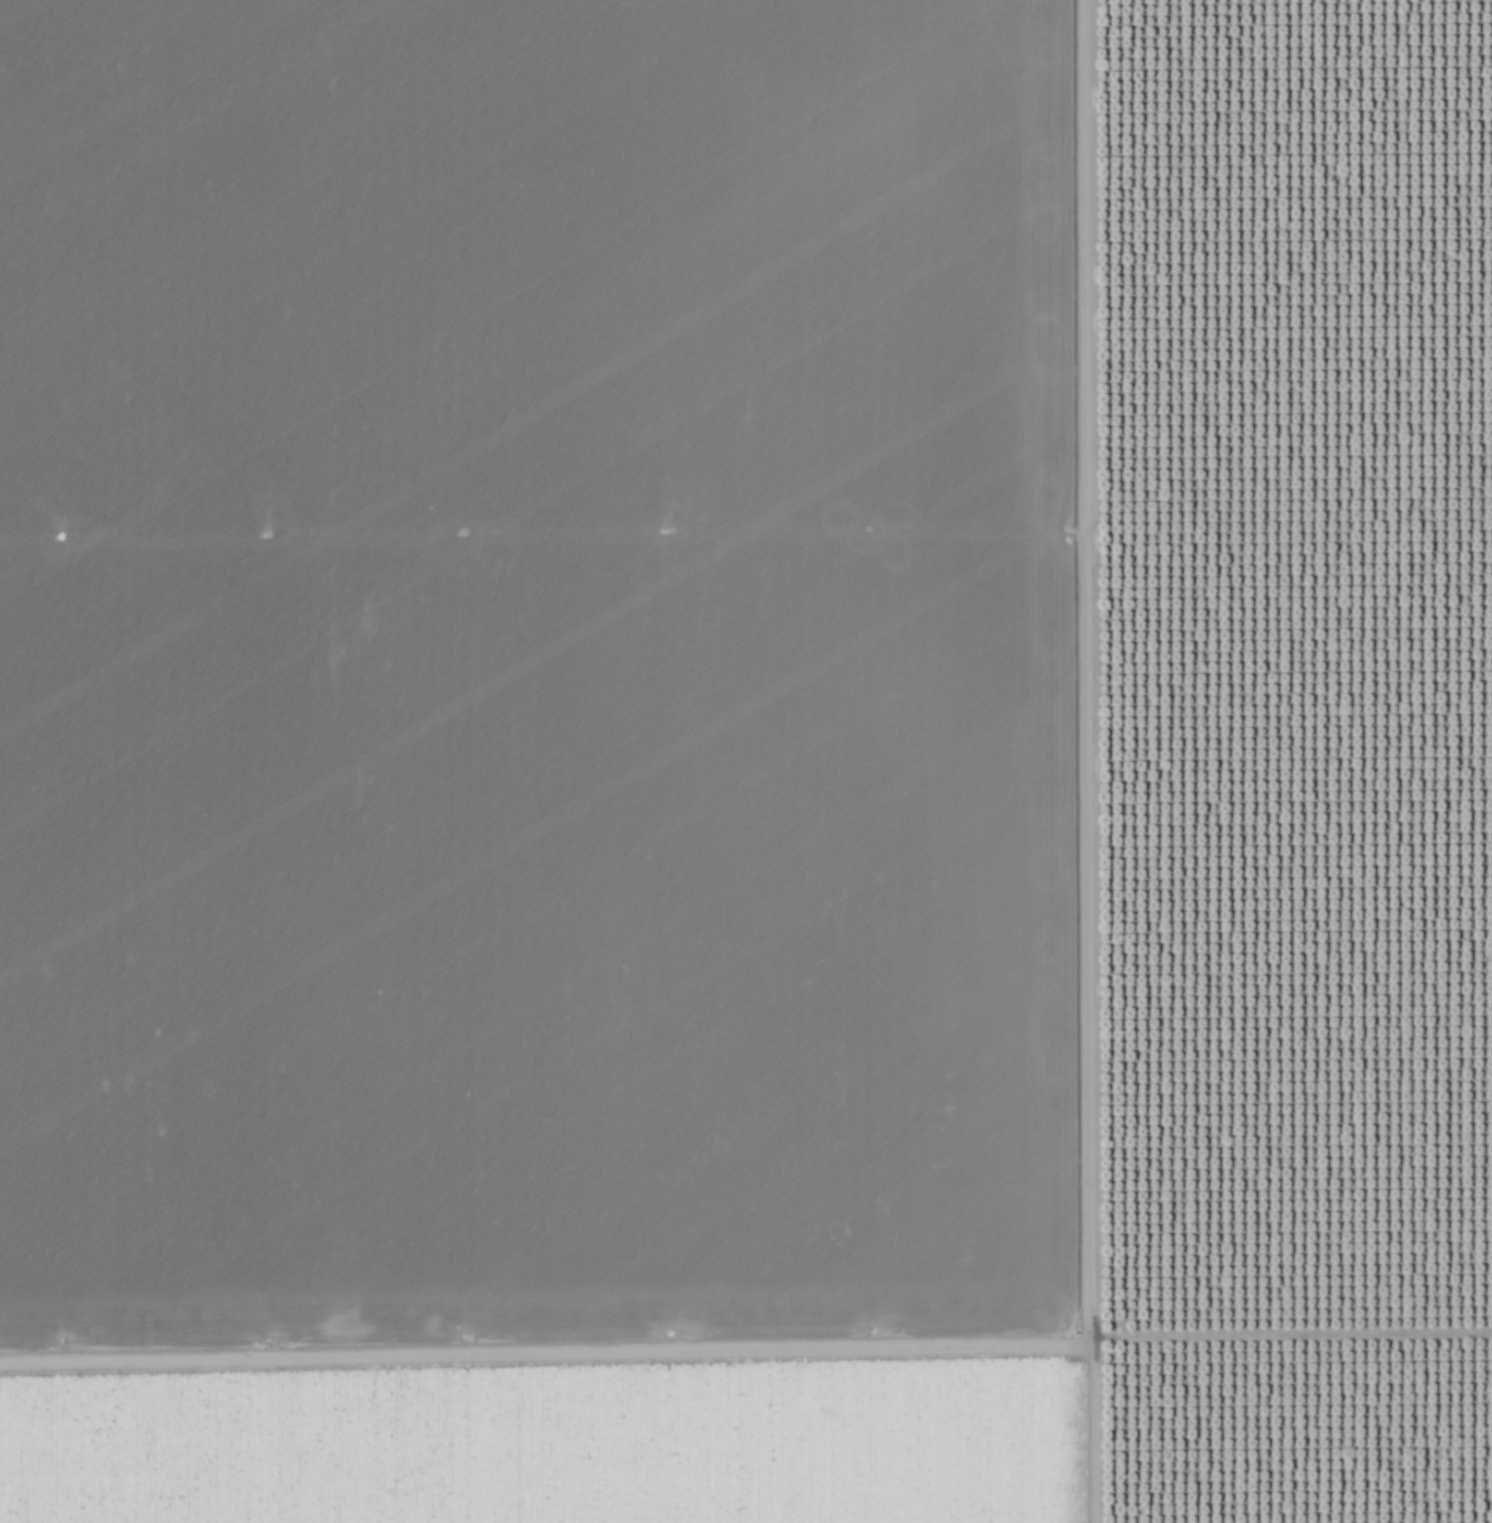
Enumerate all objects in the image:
crop: (541, 761)
road: (1080, 761)

